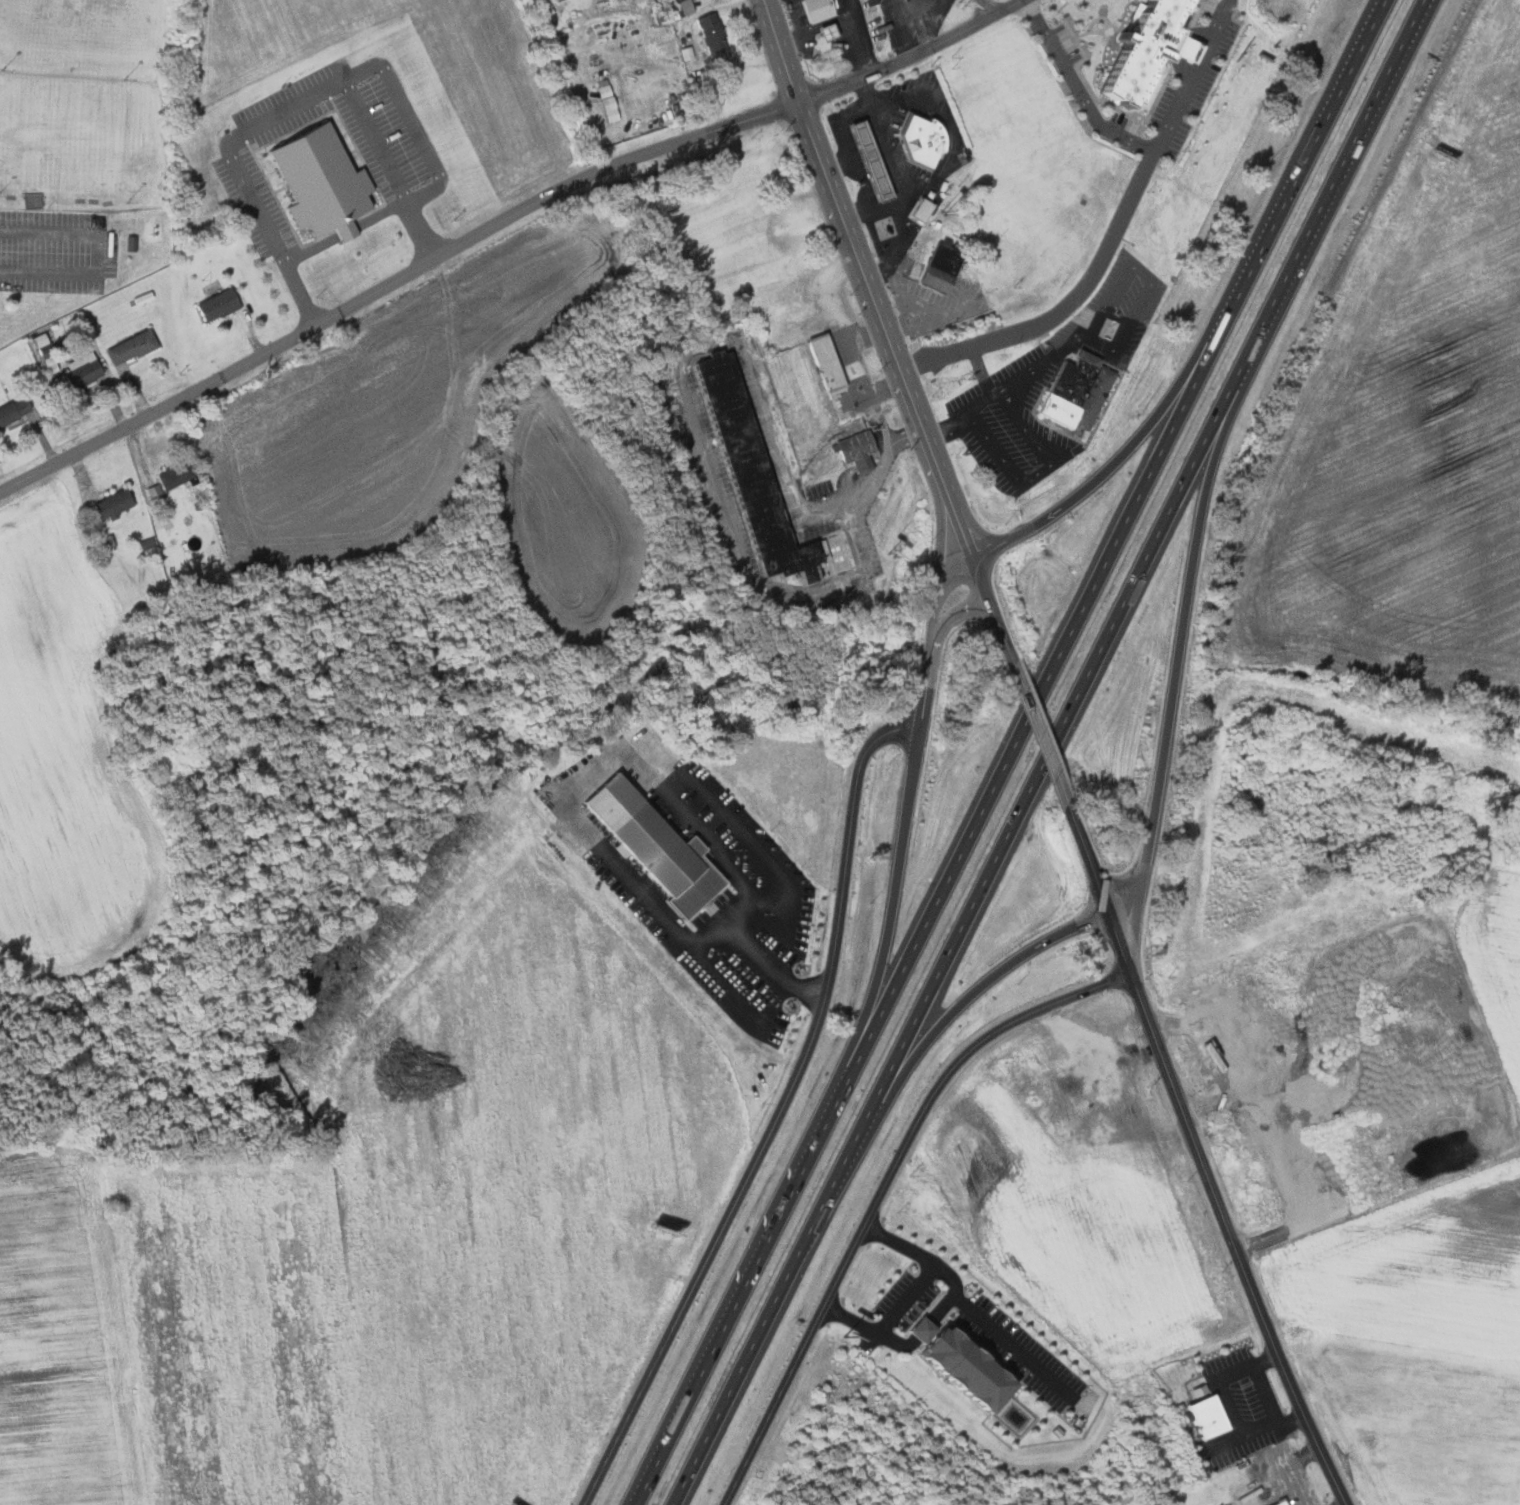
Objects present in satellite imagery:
road: (913, 2)
road: (987, 9)
building: (814, 10)
road: (911, 14)
park: (87, 32)
building: (707, 32)
building: (821, 32)
building: (1125, 51)
road: (1075, 88)
building: (604, 100)
road: (287, 107)
road: (412, 122)
park: (78, 131)
building: (924, 139)
park: (90, 152)
road: (1302, 155)
building: (875, 159)
building: (865, 161)
road: (1337, 179)
building: (325, 182)
building: (31, 200)
building: (923, 208)
road: (501, 221)
road: (348, 231)
road: (1111, 236)
road: (851, 241)
parking lot: (60, 248)
road: (94, 255)
building: (944, 266)
building: (219, 304)
building: (132, 346)
building: (828, 362)
building: (85, 371)
building: (1077, 392)
building: (14, 410)
building: (859, 449)
road: (1119, 456)
park: (6, 462)
building: (178, 475)
building: (761, 480)
building: (113, 505)
road: (969, 520)
road: (938, 538)
road: (978, 574)
road: (936, 590)
road: (955, 612)
road: (1179, 638)
road: (926, 681)
road: (1042, 735)
road: (572, 819)
building: (648, 843)
road: (1088, 858)
road: (932, 909)
road: (957, 930)
road: (1120, 943)
road: (875, 979)
road: (950, 1012)
road: (785, 1113)
road: (1188, 1115)
road: (887, 1197)
road: (909, 1290)
road: (985, 1324)
building: (957, 1368)
road: (1295, 1380)
building: (1203, 1416)
building: (1281, 1502)

